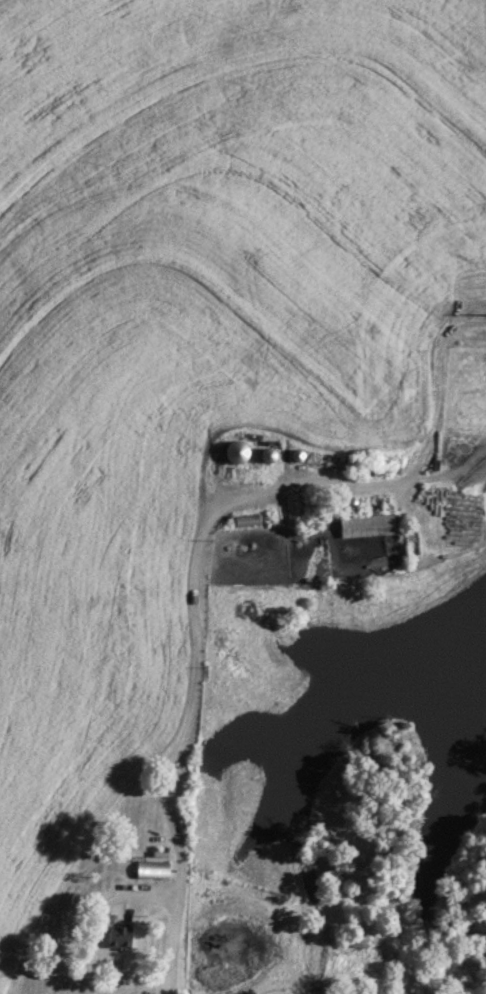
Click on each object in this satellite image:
building: (232, 451)
building: (293, 507)
building: (365, 525)
road: (203, 655)
building: (150, 869)
building: (116, 935)

